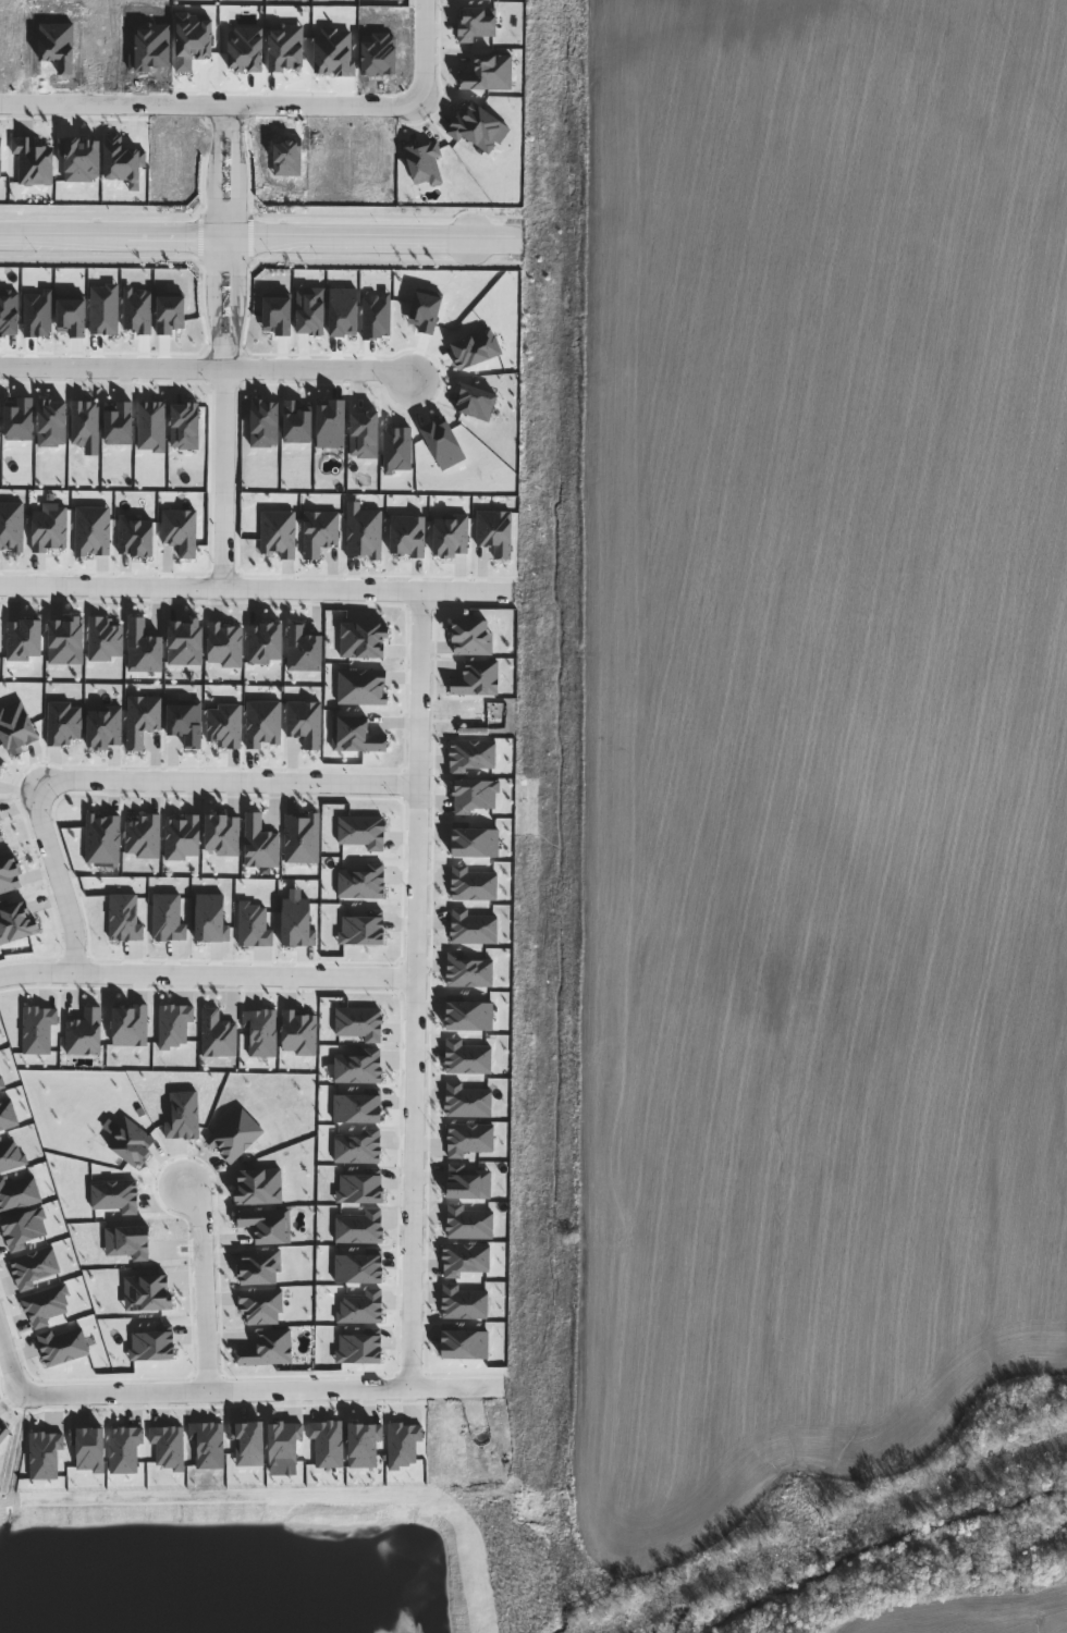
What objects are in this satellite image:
road: (424, 51)
road: (207, 106)
road: (223, 107)
road: (260, 237)
road: (204, 369)
road: (220, 478)
road: (255, 588)
road: (416, 688)
crop: (801, 744)
road: (224, 782)
road: (61, 879)
road: (36, 973)
road: (244, 974)
road: (414, 1088)
road: (205, 1285)
road: (11, 1356)
road: (253, 1390)

